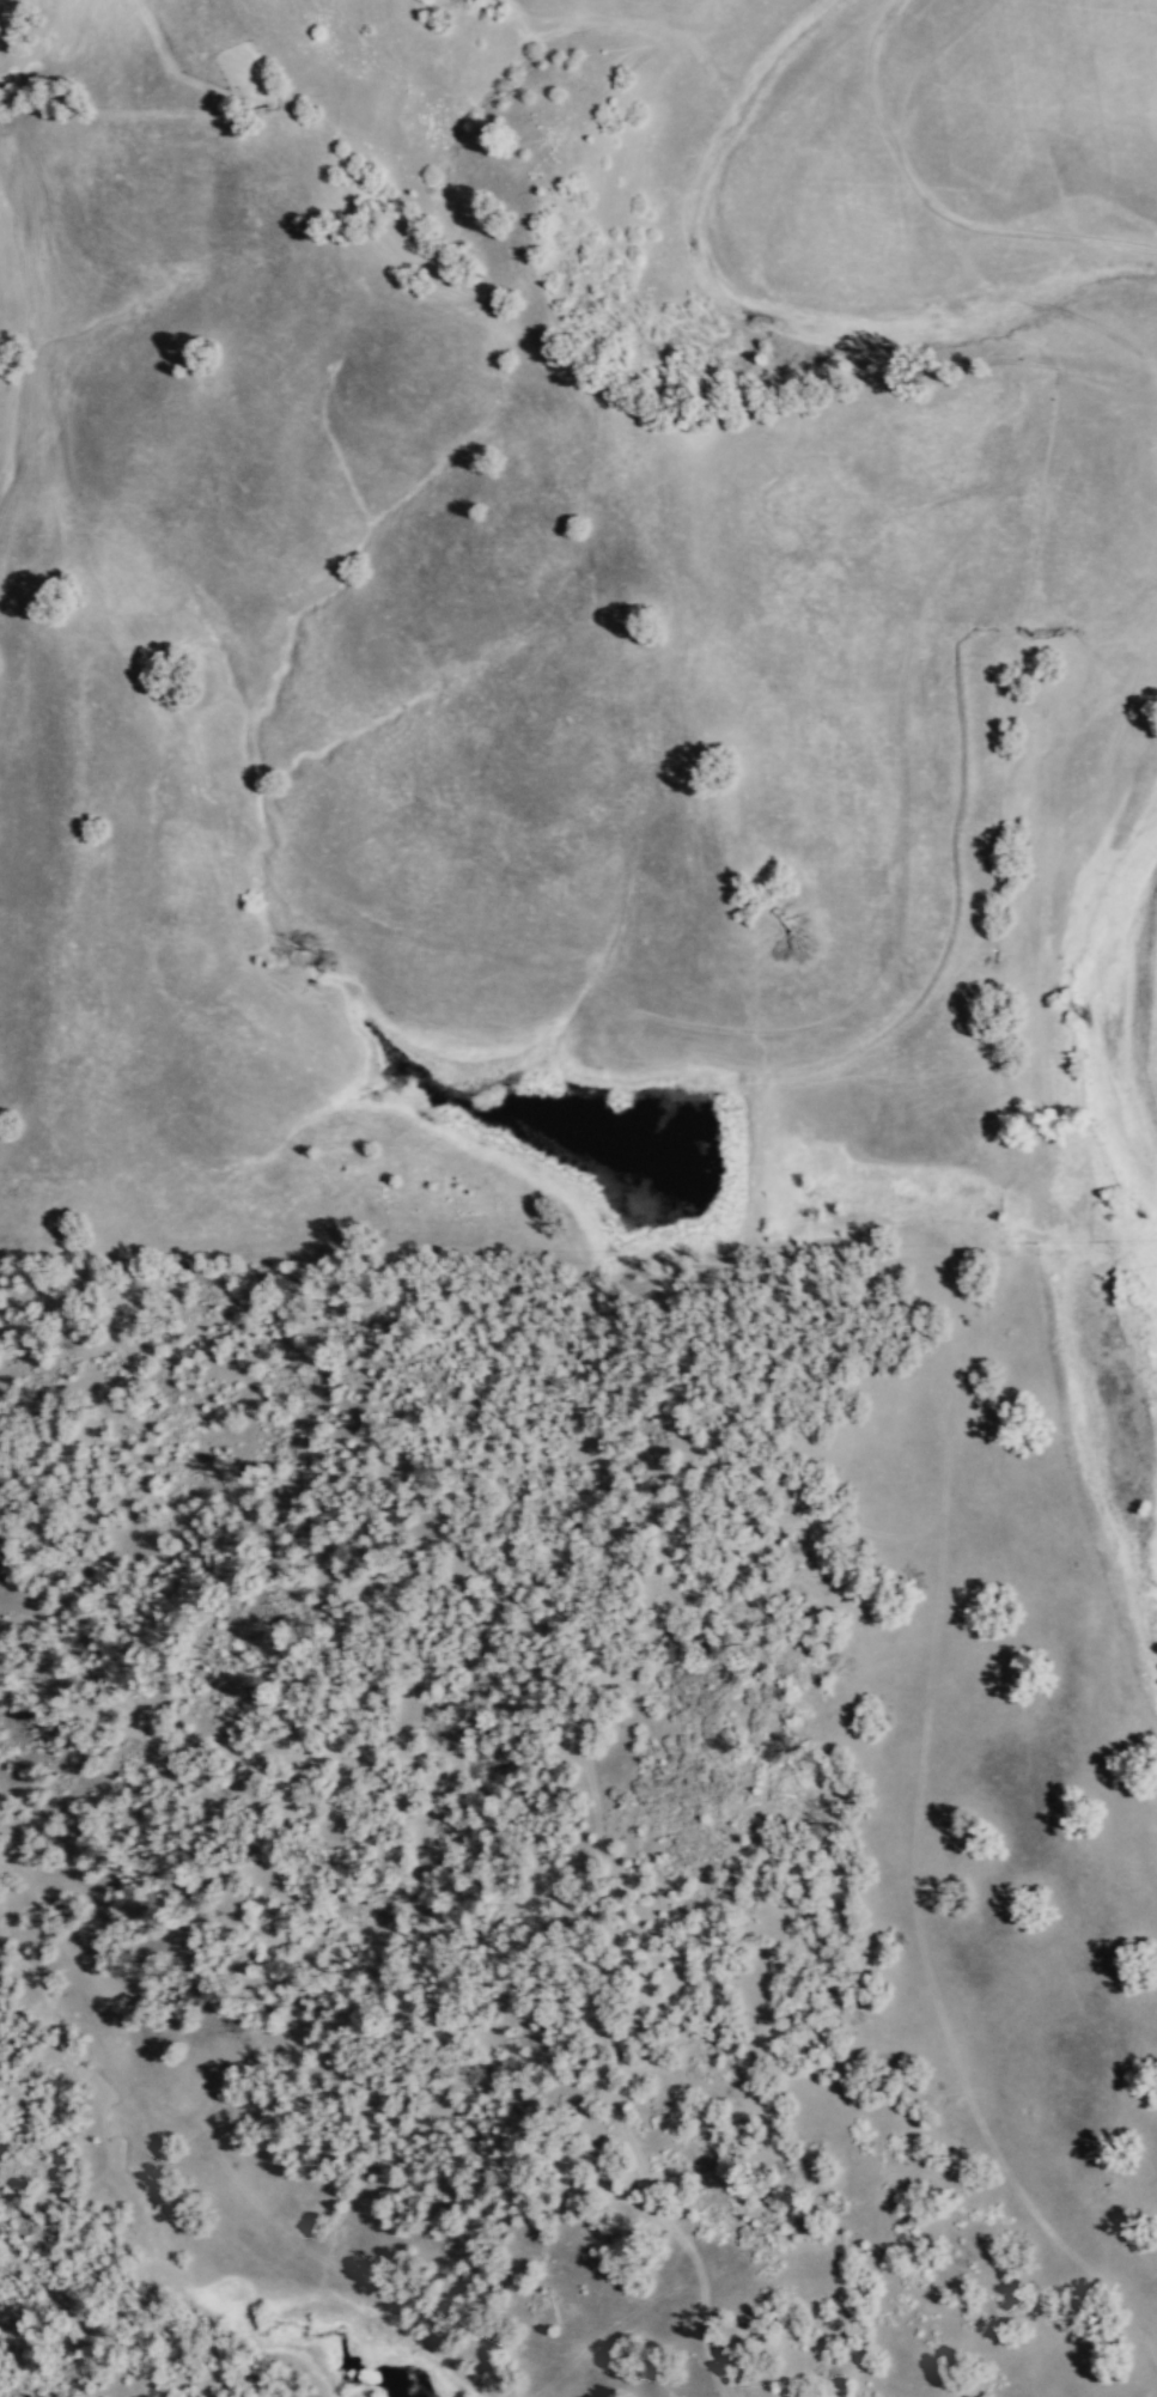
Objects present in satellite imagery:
road: (933, 205)

